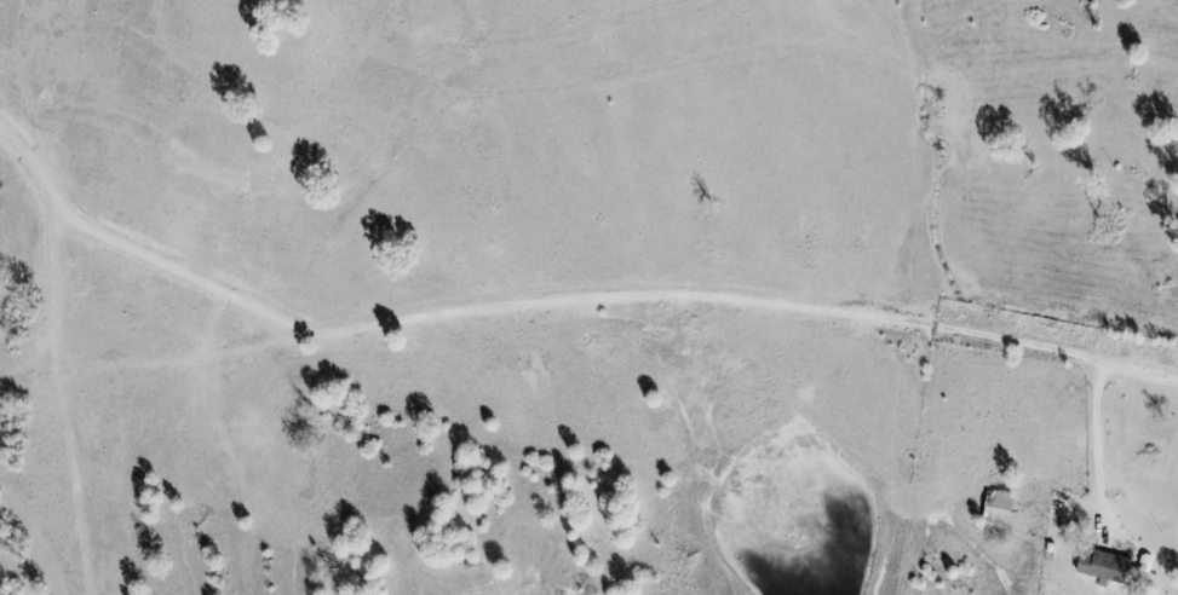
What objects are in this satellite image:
road: (553, 306)
building: (1004, 510)
building: (1111, 570)

